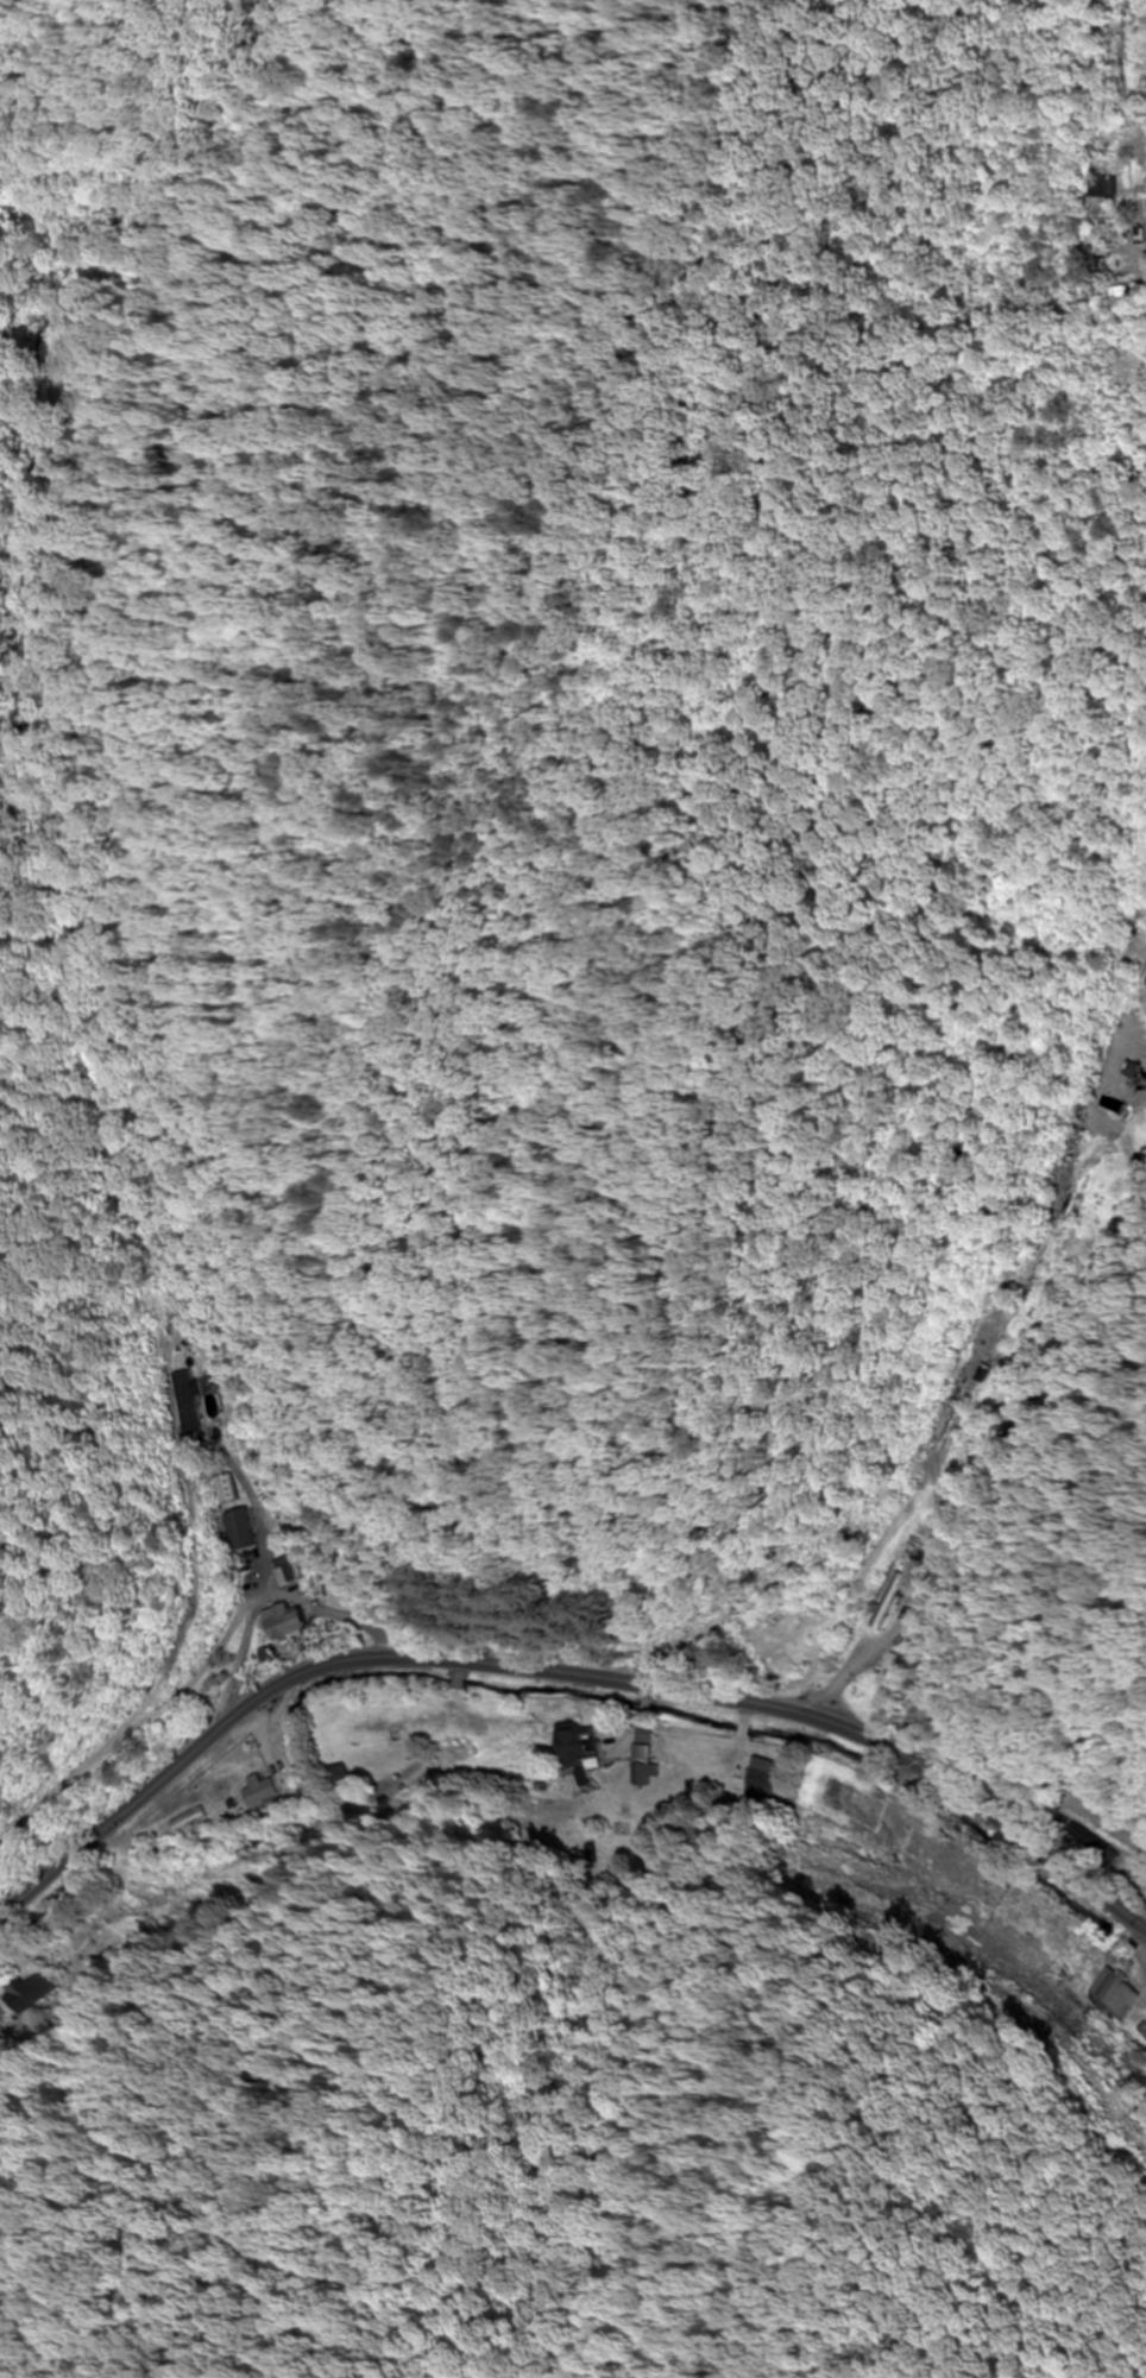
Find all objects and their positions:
road: (1117, 70)
building: (1096, 190)
building: (1127, 260)
building: (1101, 280)
building: (1116, 1097)
building: (183, 1407)
road: (1014, 1433)
building: (222, 1490)
building: (237, 1531)
building: (285, 1570)
building: (890, 1602)
road: (252, 1608)
building: (285, 1621)
road: (563, 1674)
building: (579, 1746)
building: (642, 1765)
building: (763, 1778)
building: (266, 1791)
building: (850, 1805)
building: (917, 1847)
building: (37, 1993)
building: (1112, 1995)
building: (1141, 2032)

